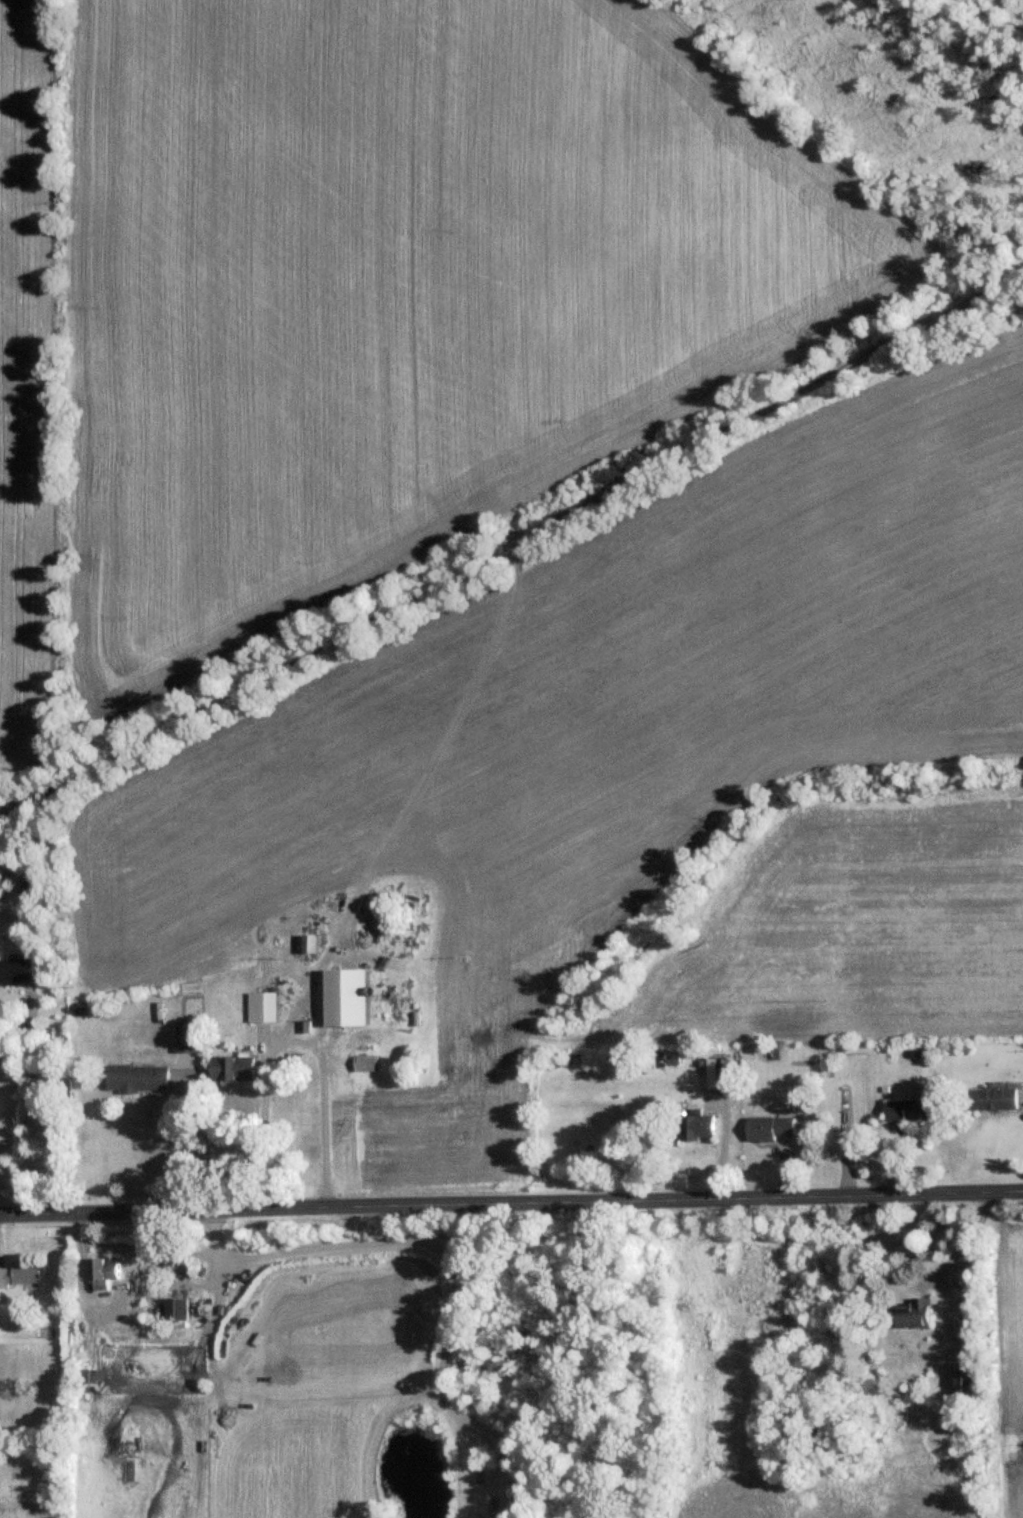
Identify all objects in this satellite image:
building: (311, 941)
building: (16, 969)
building: (347, 995)
building: (265, 1005)
building: (186, 1035)
road: (293, 1043)
building: (364, 1062)
building: (232, 1066)
building: (136, 1076)
building: (991, 1097)
road: (35, 1107)
building: (906, 1109)
building: (697, 1125)
building: (768, 1126)
road: (191, 1145)
road: (511, 1207)
road: (214, 1245)
road: (363, 1246)
building: (103, 1271)
building: (19, 1274)
building: (911, 1312)
building: (964, 1379)

